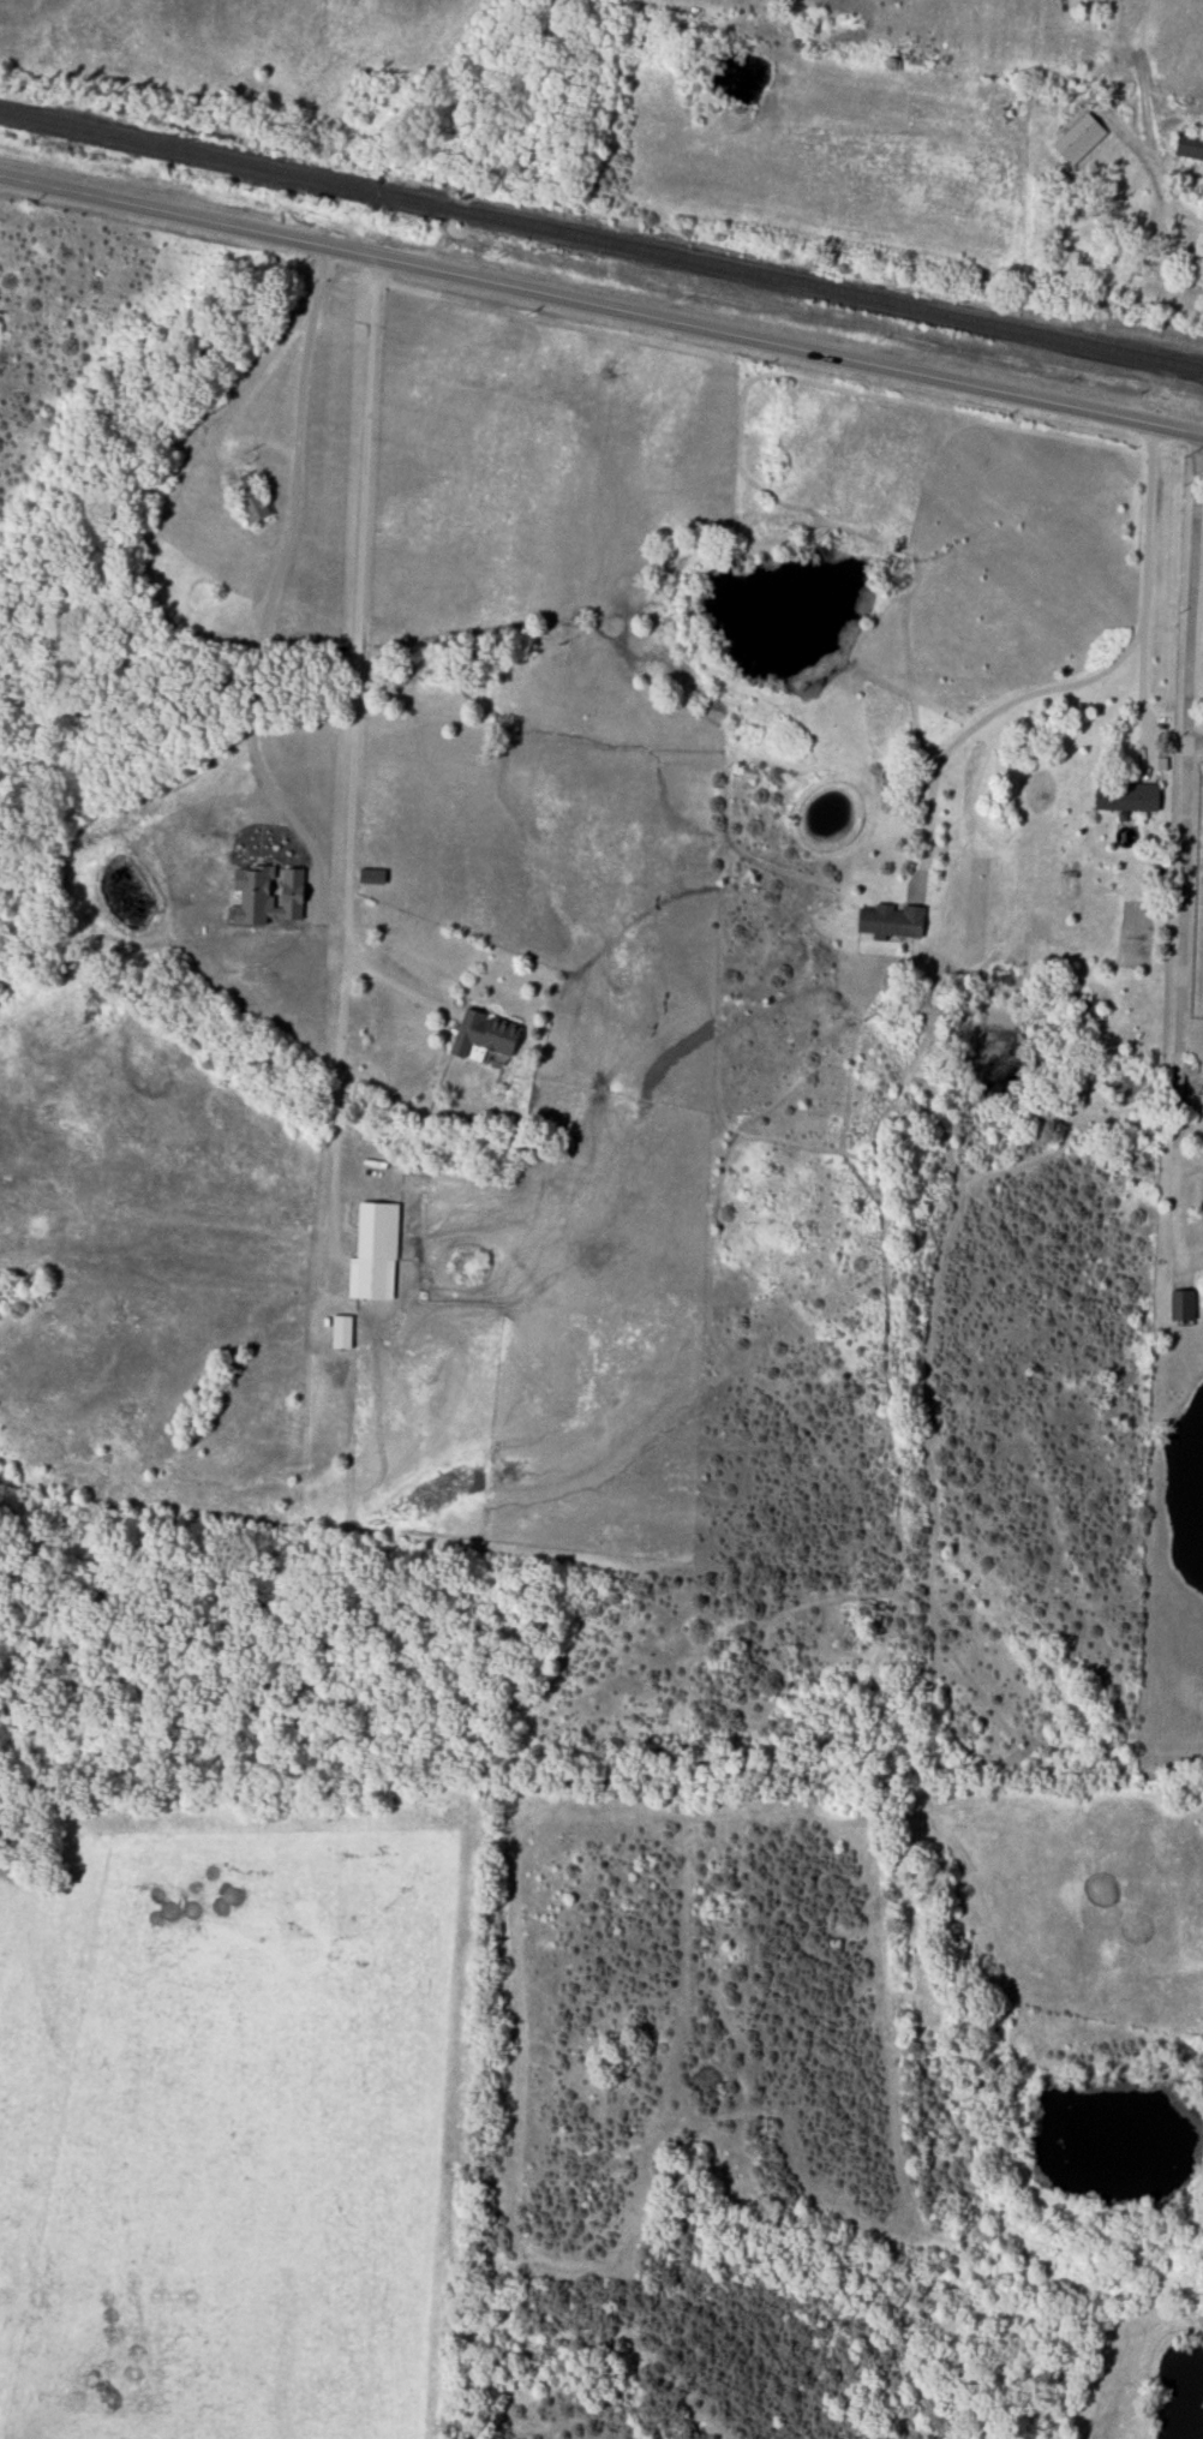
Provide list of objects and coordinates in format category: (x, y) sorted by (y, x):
building: (1190, 148)
road: (1160, 183)
building: (1127, 205)
railway: (600, 241)
road: (601, 310)
building: (249, 500)
road: (279, 574)
road: (1090, 680)
road: (1142, 691)
road: (353, 737)
building: (1126, 797)
road: (977, 807)
road: (1184, 812)
building: (1070, 880)
building: (891, 922)
road: (400, 990)
building: (1087, 1010)
building: (483, 1036)
road: (1172, 1218)
building: (375, 1254)
building: (1181, 1305)
building: (342, 1333)

